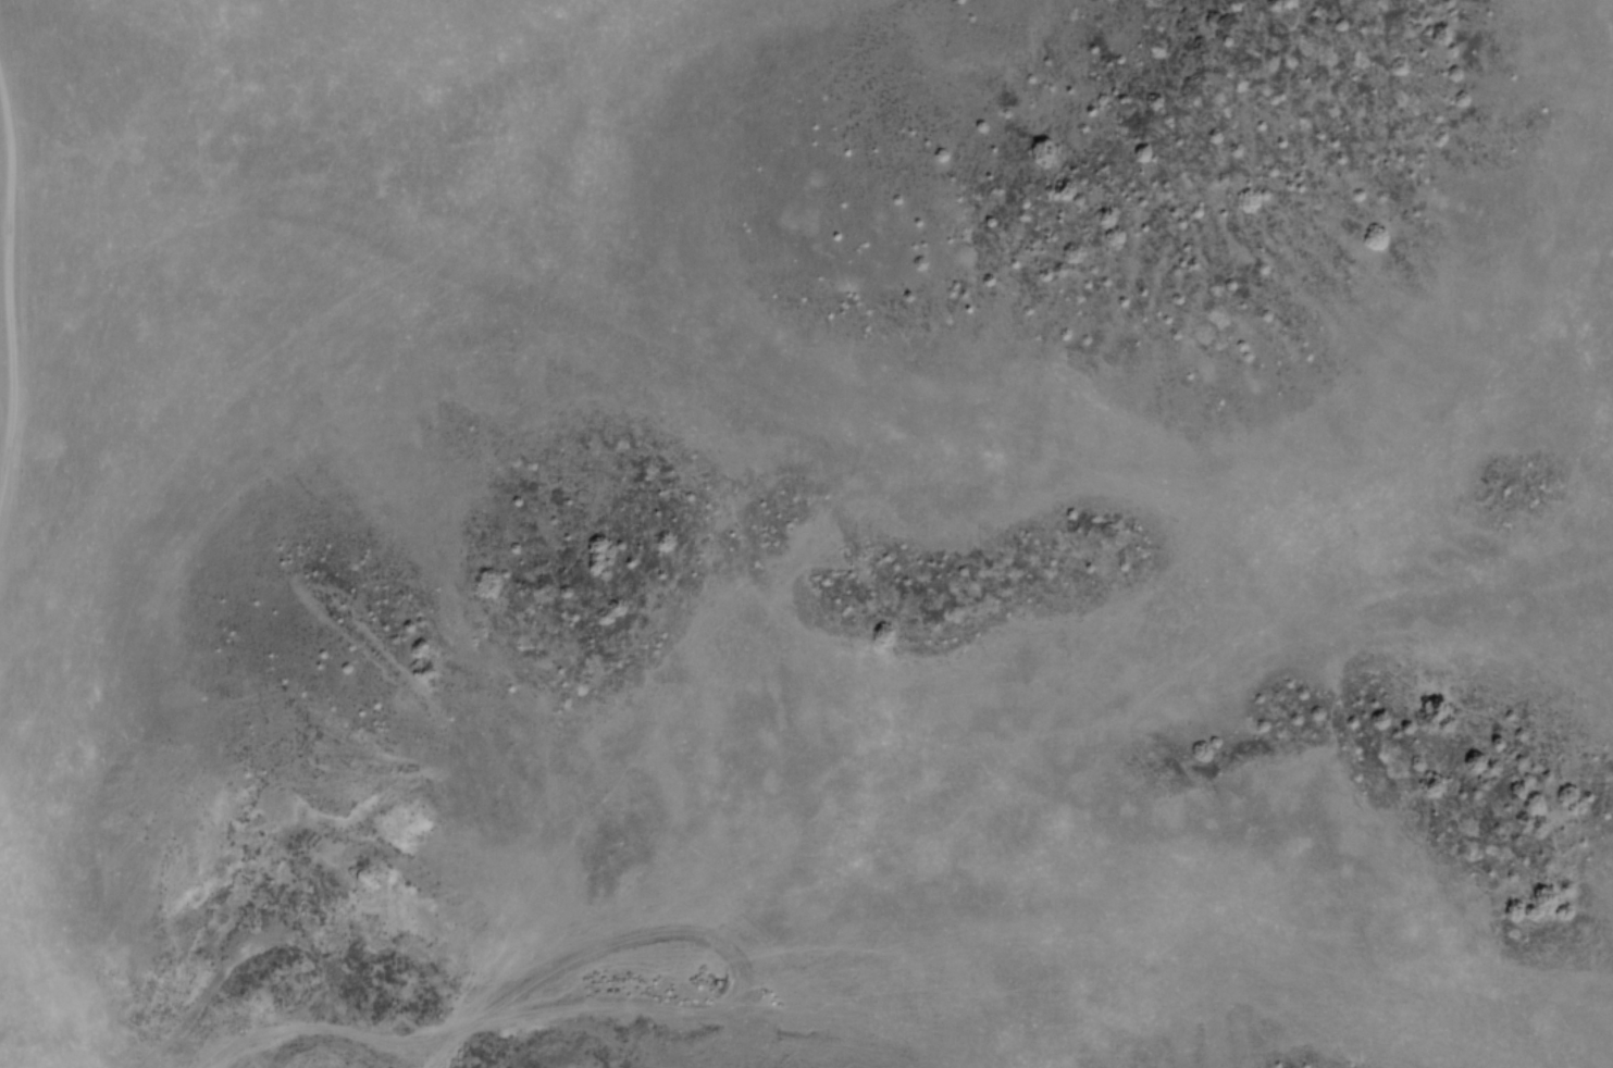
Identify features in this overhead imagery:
road: (5, 272)

